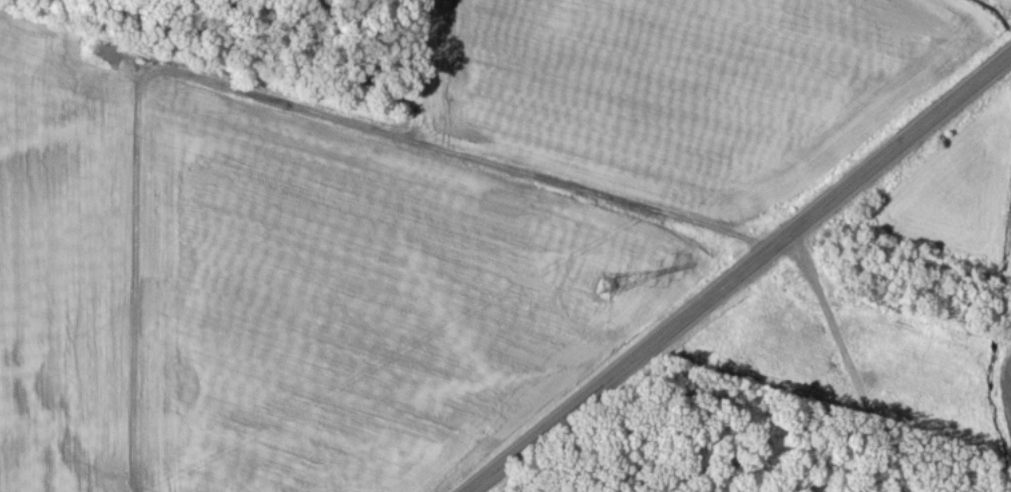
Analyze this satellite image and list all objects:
road: (257, 93)
road: (737, 273)
power tower: (609, 285)
road: (848, 360)

